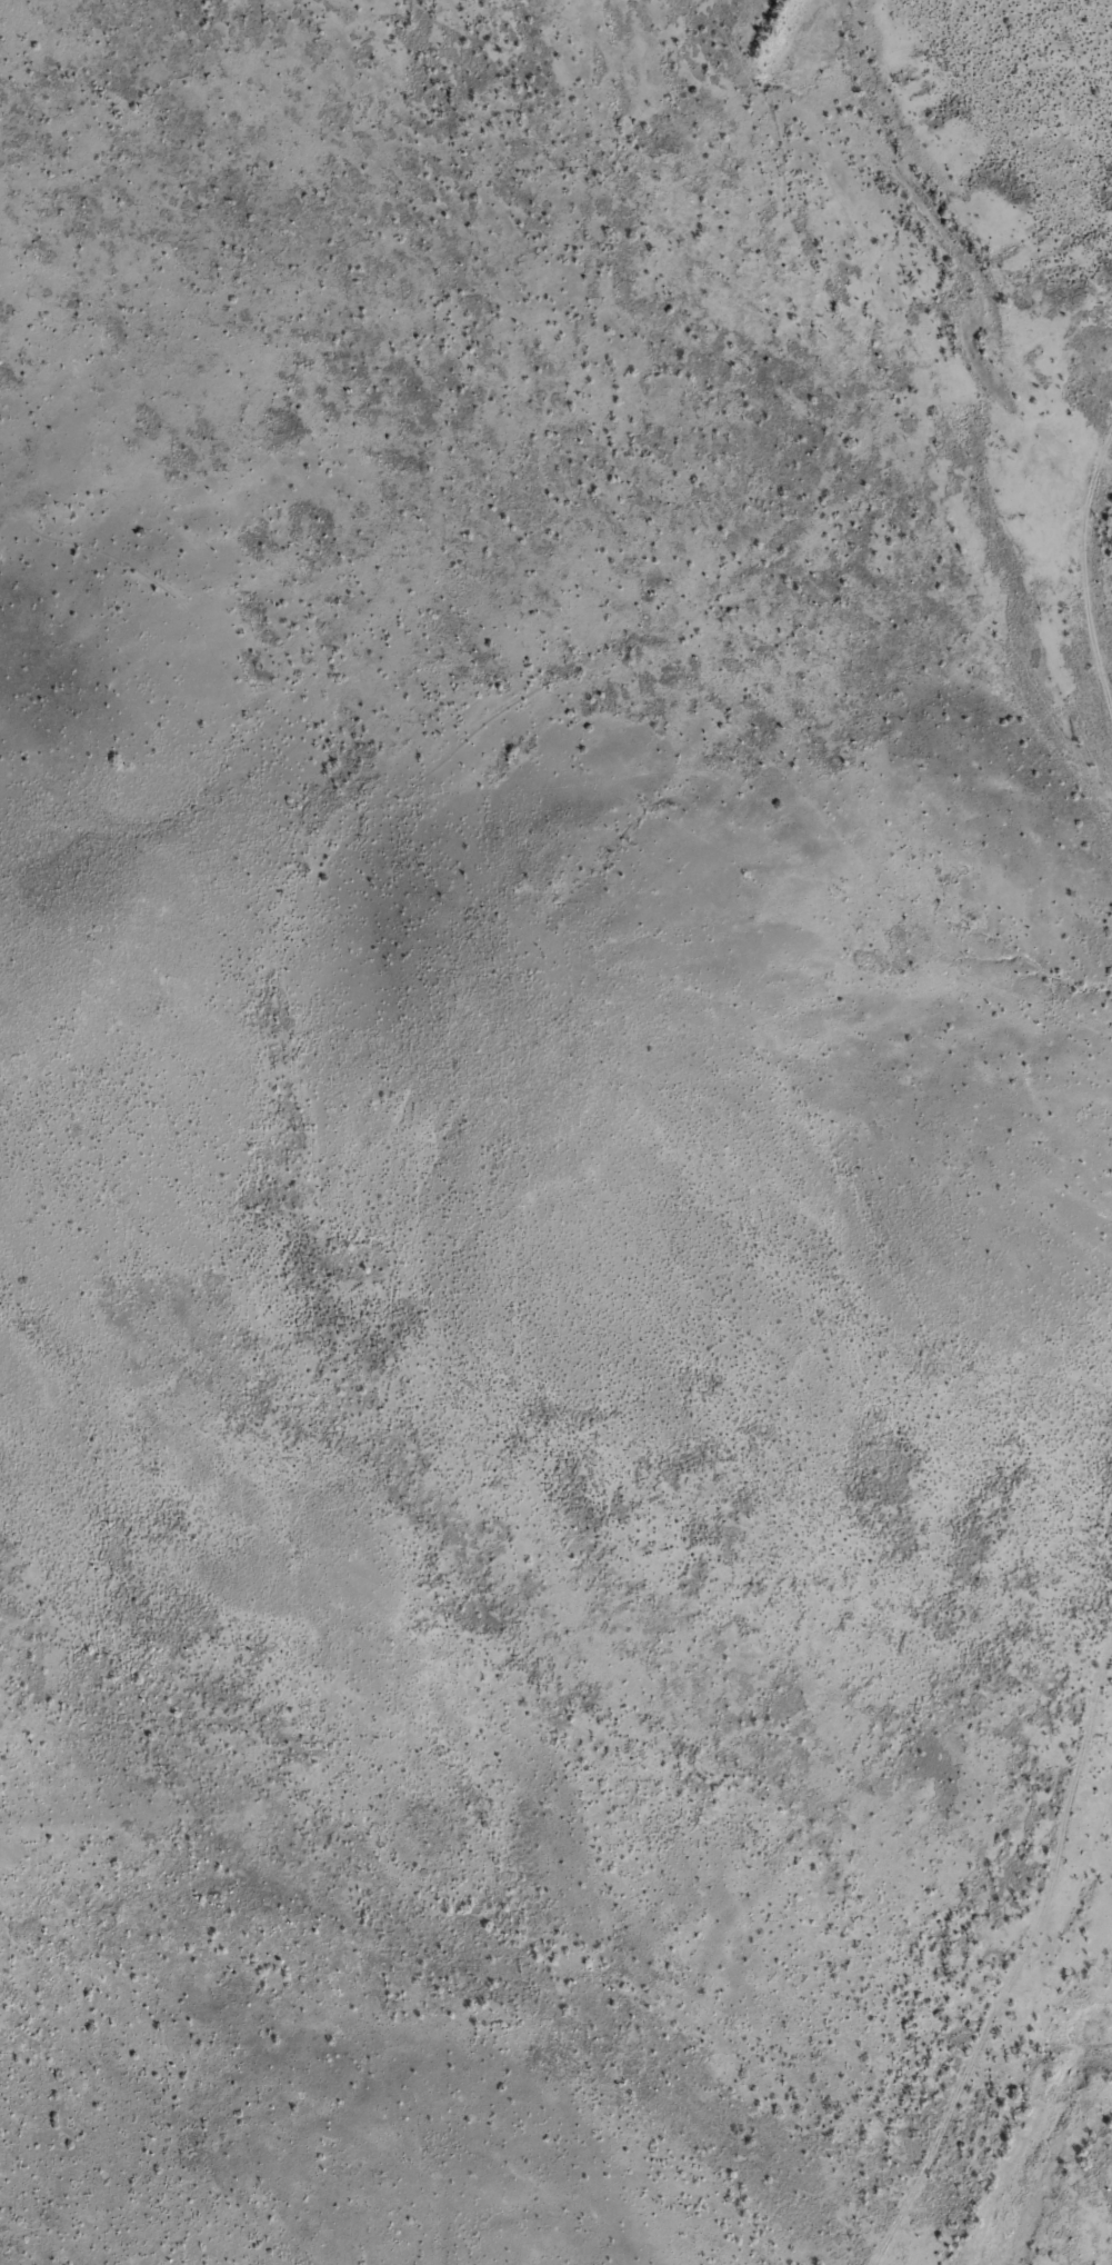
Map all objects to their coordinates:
road: (1108, 698)
road: (531, 730)
road: (1009, 1963)

